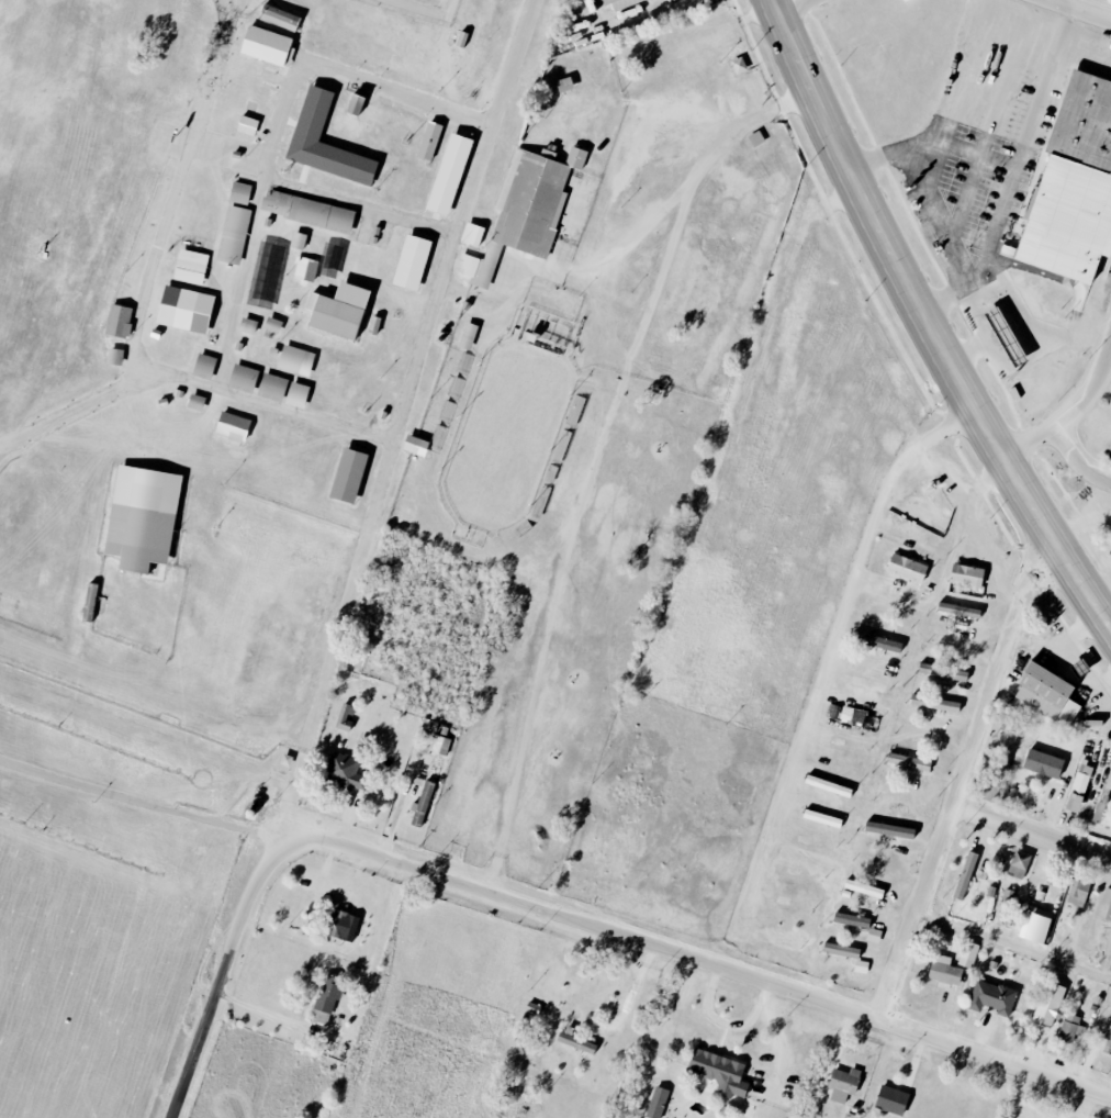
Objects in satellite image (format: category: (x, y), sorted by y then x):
building: (619, 3)
road: (799, 9)
road: (1081, 10)
road: (423, 12)
building: (279, 18)
road: (1020, 19)
building: (461, 40)
building: (267, 46)
building: (564, 85)
road: (951, 86)
building: (355, 104)
building: (311, 116)
building: (247, 125)
road: (279, 125)
building: (429, 141)
road: (1028, 142)
road: (228, 154)
building: (448, 174)
building: (1073, 186)
road: (176, 190)
building: (239, 193)
building: (532, 199)
road: (357, 209)
building: (307, 211)
road: (943, 219)
building: (471, 234)
building: (298, 241)
building: (411, 262)
road: (445, 262)
building: (467, 265)
building: (190, 267)
building: (305, 269)
building: (266, 275)
building: (184, 309)
building: (338, 311)
building: (119, 321)
road: (929, 321)
building: (271, 324)
building: (247, 325)
building: (373, 325)
building: (468, 336)
building: (1005, 336)
building: (114, 357)
road: (1109, 357)
building: (291, 358)
building: (204, 364)
building: (243, 378)
road: (192, 381)
building: (272, 387)
building: (296, 394)
building: (195, 402)
building: (447, 411)
road: (1073, 414)
building: (232, 428)
building: (438, 437)
building: (415, 446)
road: (2, 449)
road: (595, 456)
road: (1079, 460)
building: (347, 476)
building: (142, 517)
building: (1110, 541)
building: (906, 568)
building: (966, 575)
building: (891, 610)
building: (958, 611)
road: (1109, 622)
road: (842, 625)
building: (877, 642)
building: (1079, 670)
building: (942, 672)
building: (863, 683)
road: (321, 689)
building: (1046, 695)
building: (934, 703)
building: (345, 718)
building: (440, 746)
building: (1005, 754)
building: (909, 762)
building: (345, 772)
road: (964, 774)
building: (1078, 789)
building: (991, 794)
road: (138, 803)
building: (422, 803)
building: (889, 830)
road: (1032, 832)
building: (1019, 864)
building: (965, 876)
building: (863, 888)
building: (1078, 891)
building: (1106, 905)
building: (340, 926)
building: (1036, 927)
road: (1014, 944)
building: (841, 951)
building: (968, 954)
road: (698, 960)
building: (861, 966)
building: (944, 972)
road: (221, 979)
building: (992, 997)
building: (325, 1002)
building: (1048, 1004)
road: (261, 1014)
building: (1070, 1028)
building: (574, 1041)
building: (1108, 1043)
building: (719, 1073)
building: (843, 1084)
building: (891, 1100)
building: (656, 1103)

